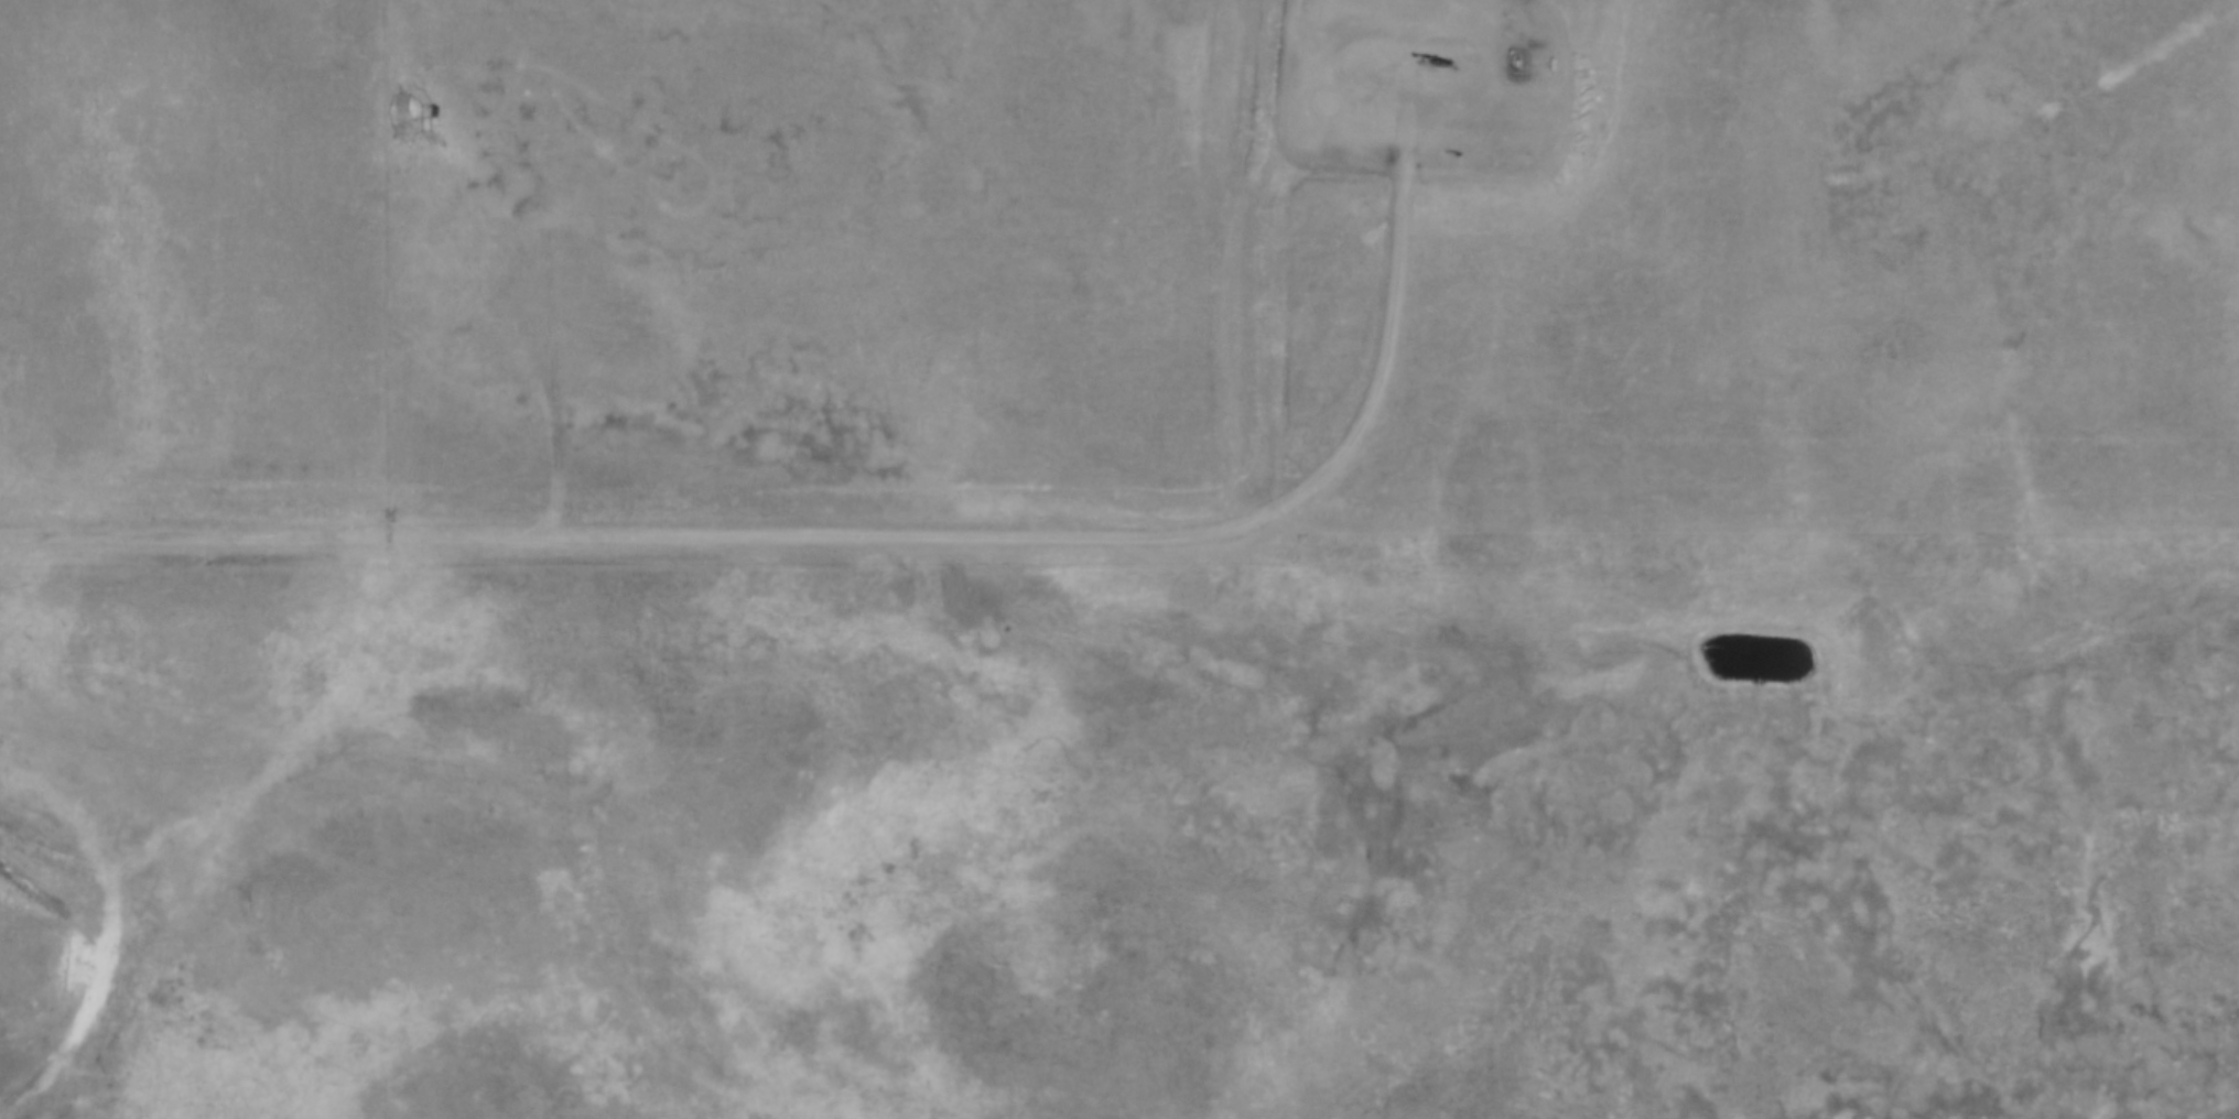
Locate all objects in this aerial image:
road: (824, 539)

